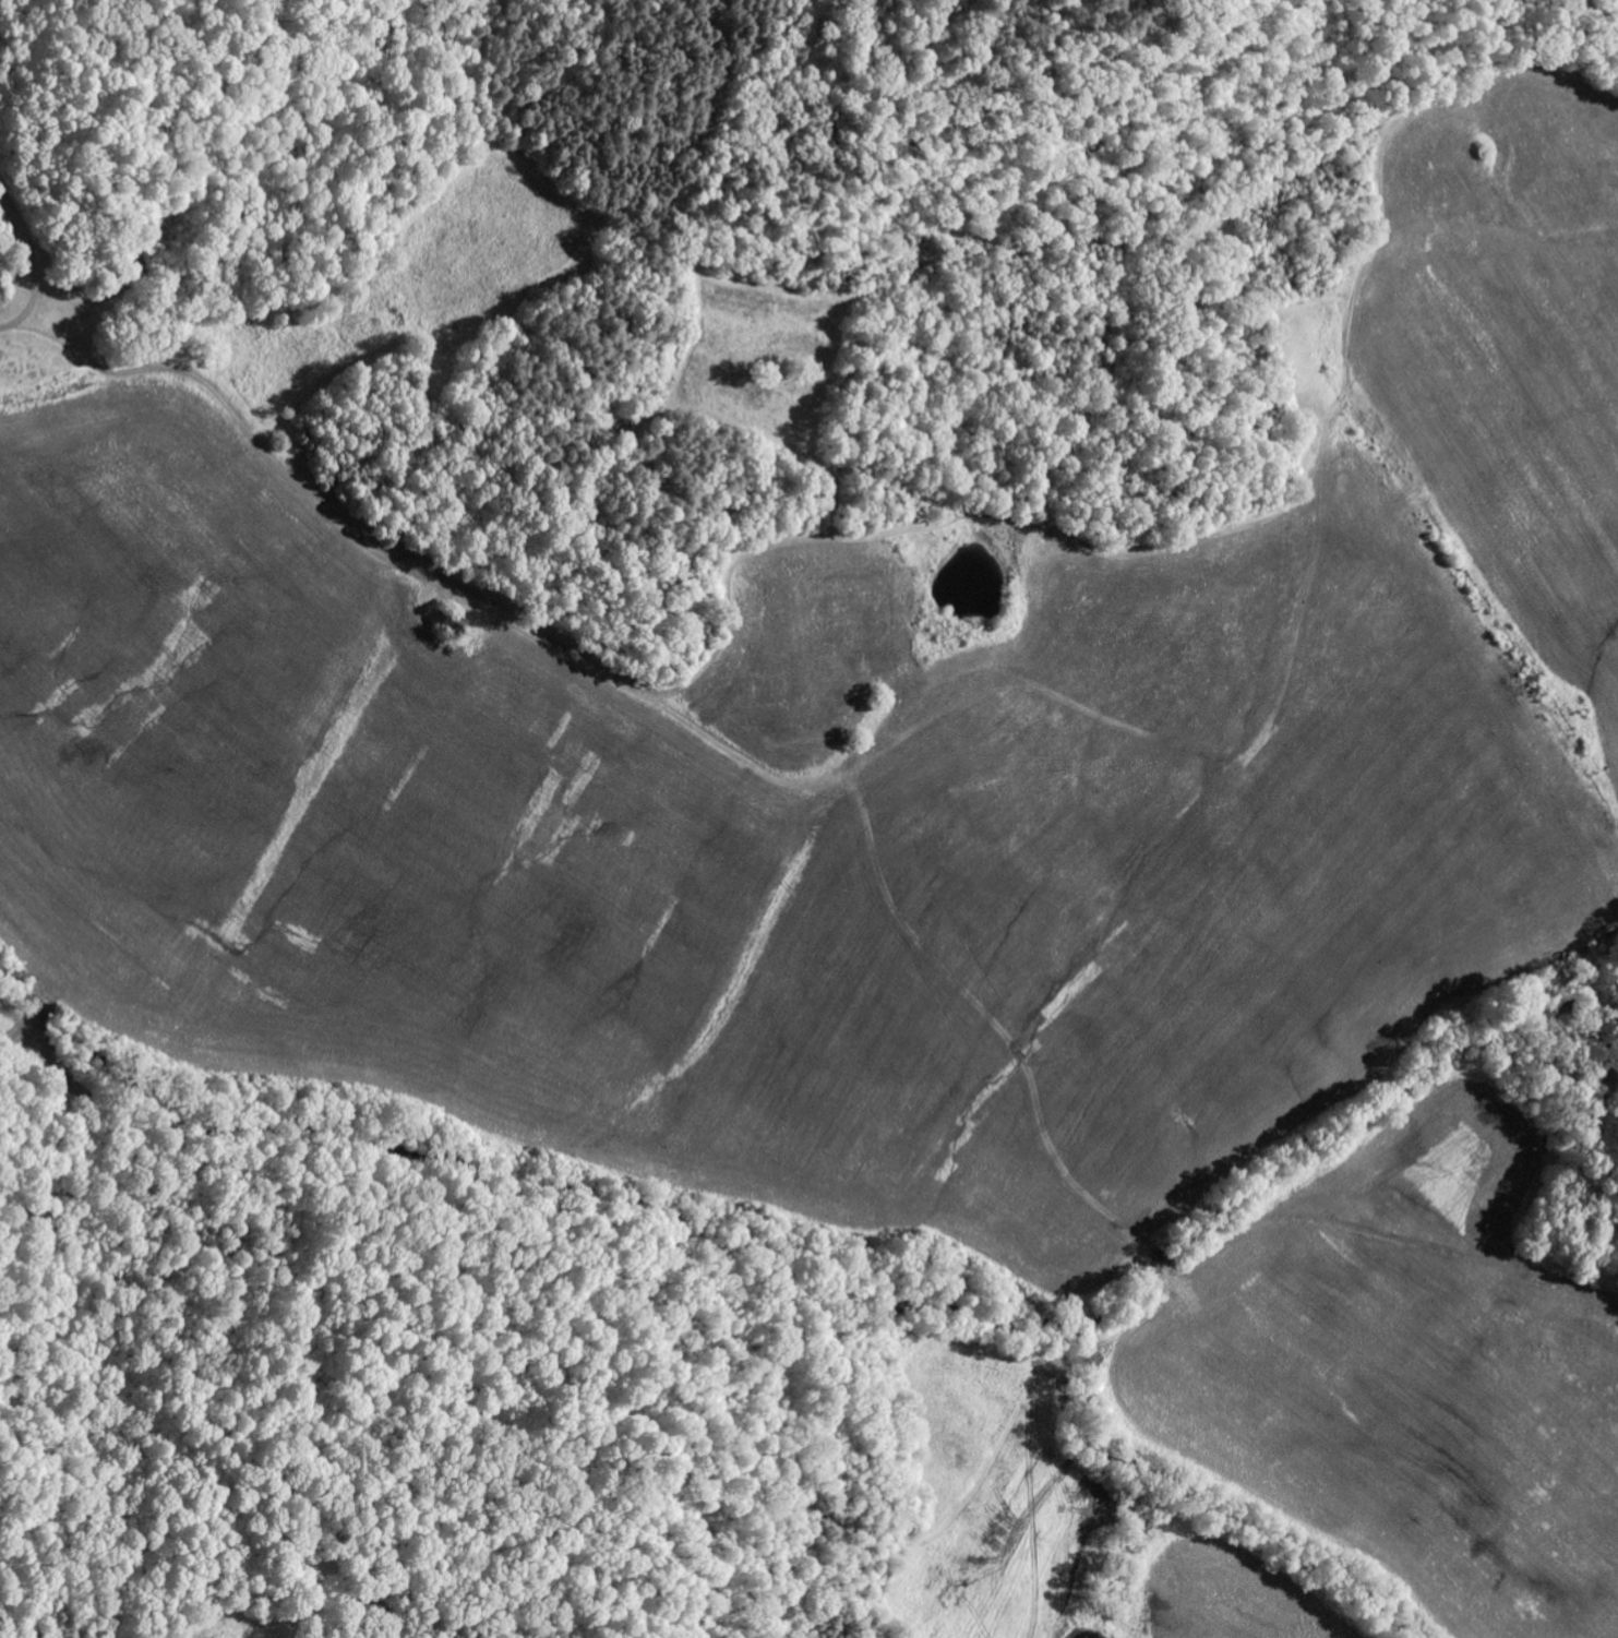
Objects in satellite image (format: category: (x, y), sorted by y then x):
road: (314, 498)
road: (1036, 1105)

